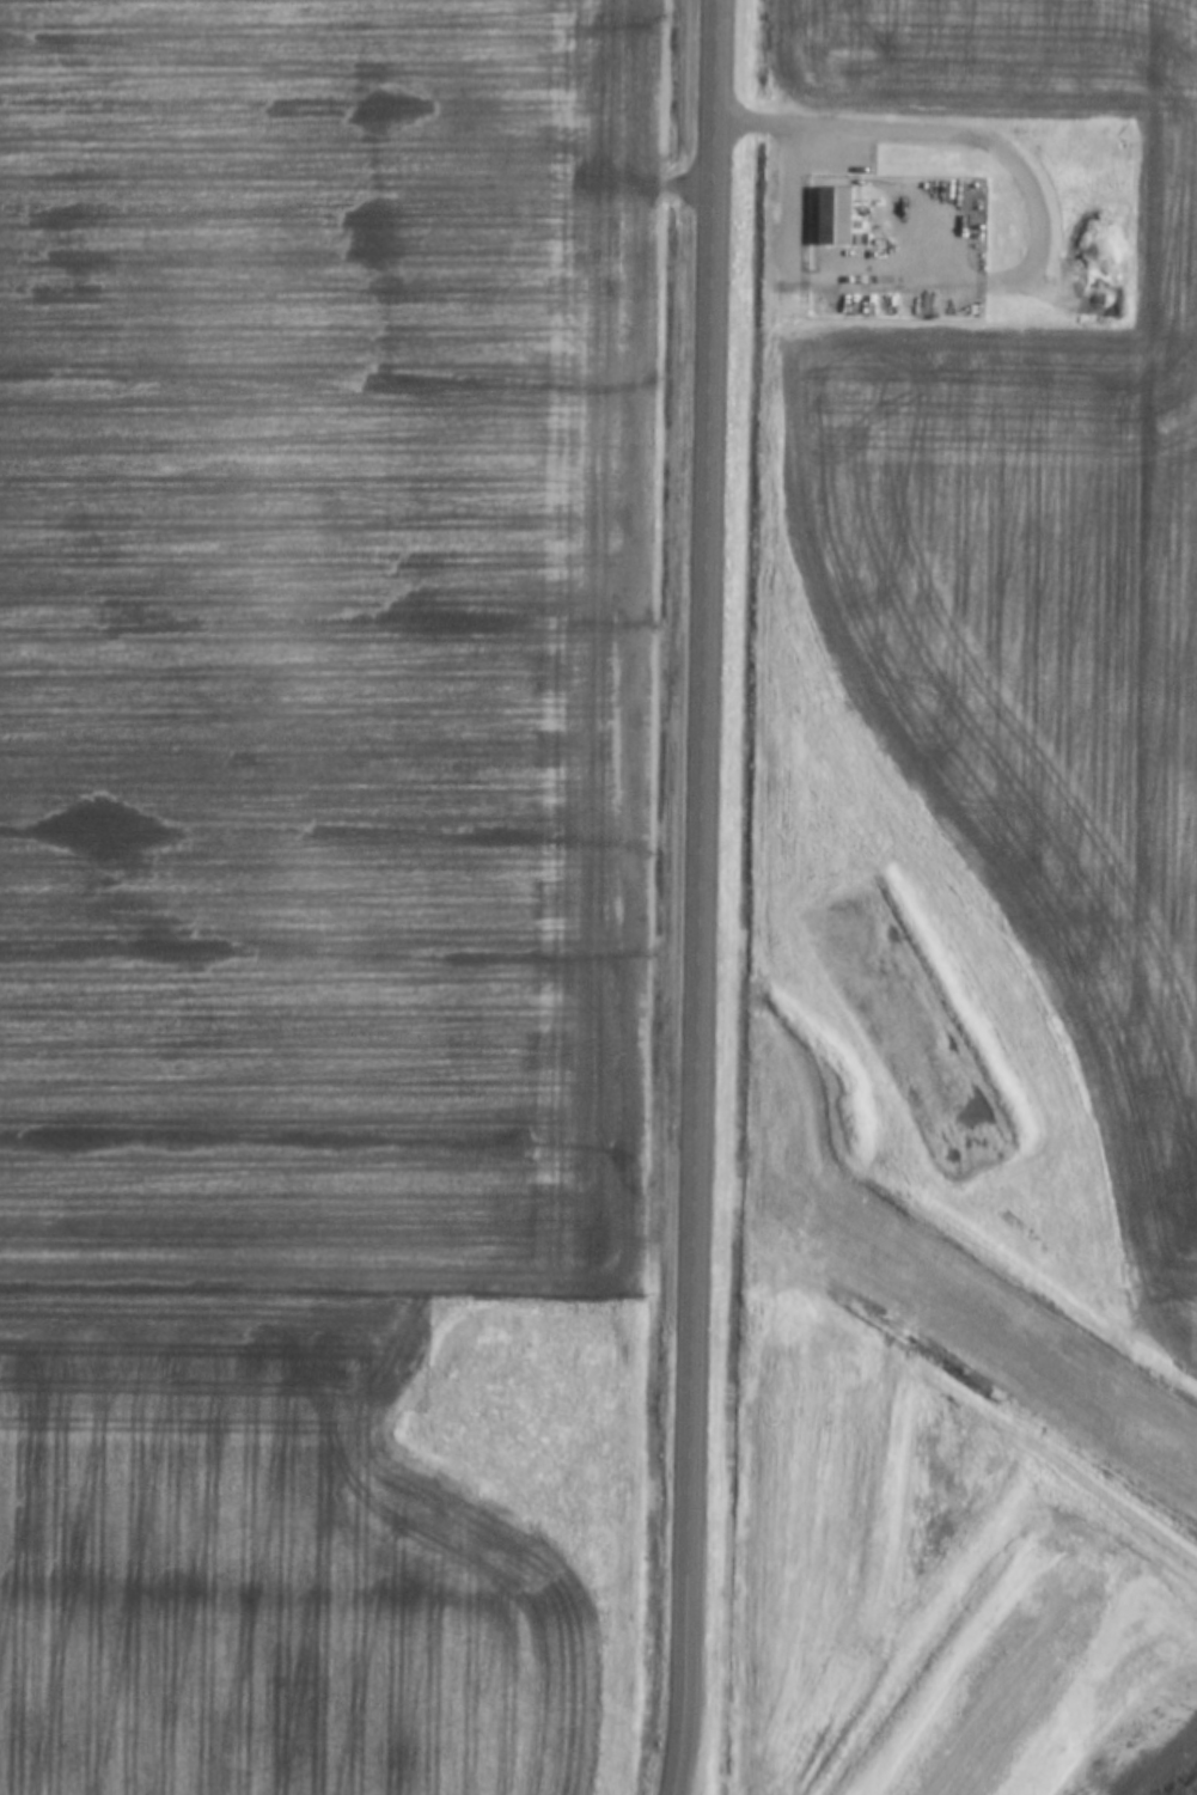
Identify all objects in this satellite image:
road: (799, 159)
building: (837, 215)
building: (861, 238)
road: (701, 897)

